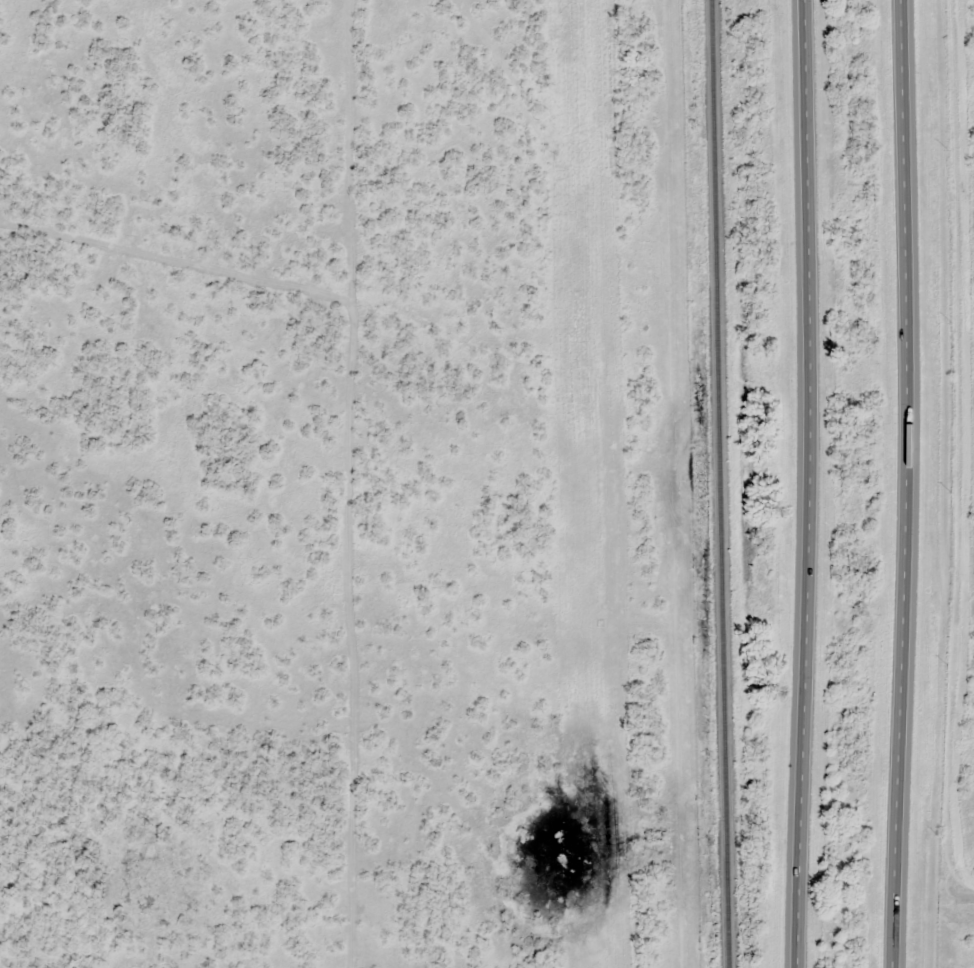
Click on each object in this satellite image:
road: (809, 483)
road: (911, 483)
railway: (722, 484)

